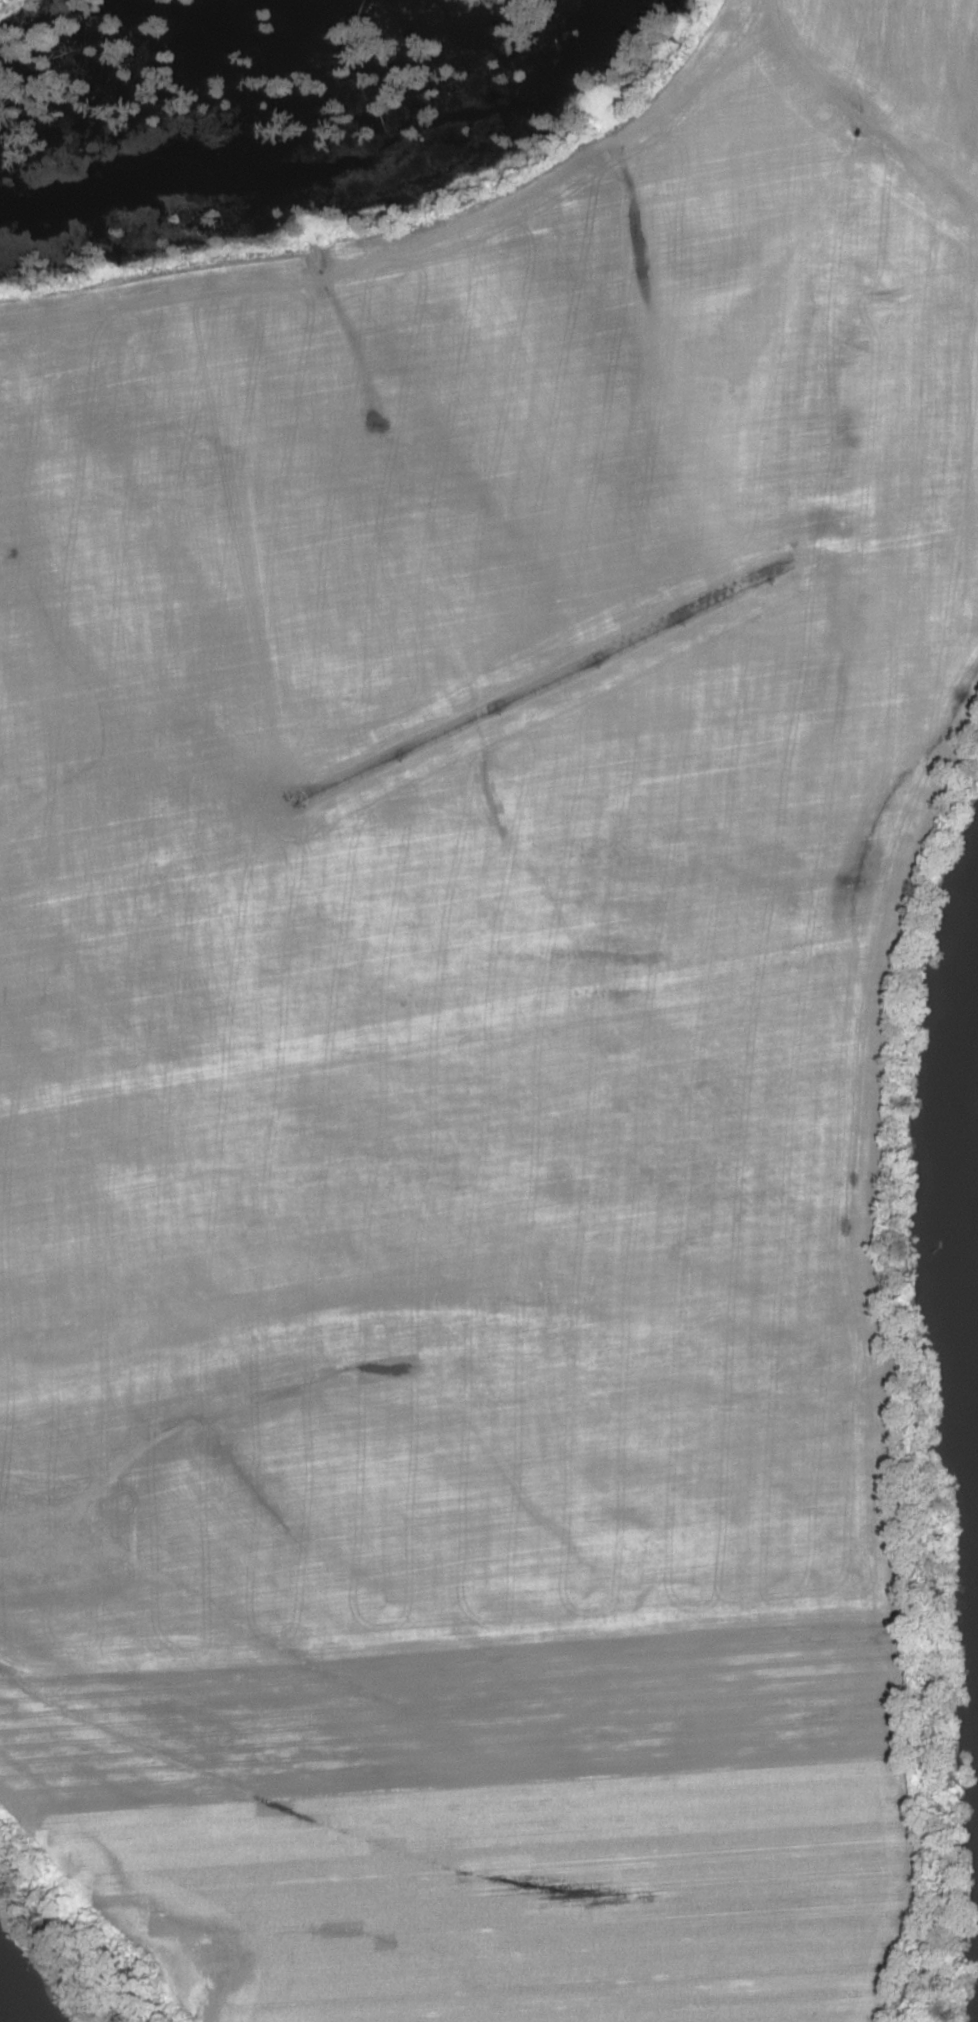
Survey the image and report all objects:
road: (855, 115)
road: (408, 245)
river: (972, 1230)
road: (710, 1250)

